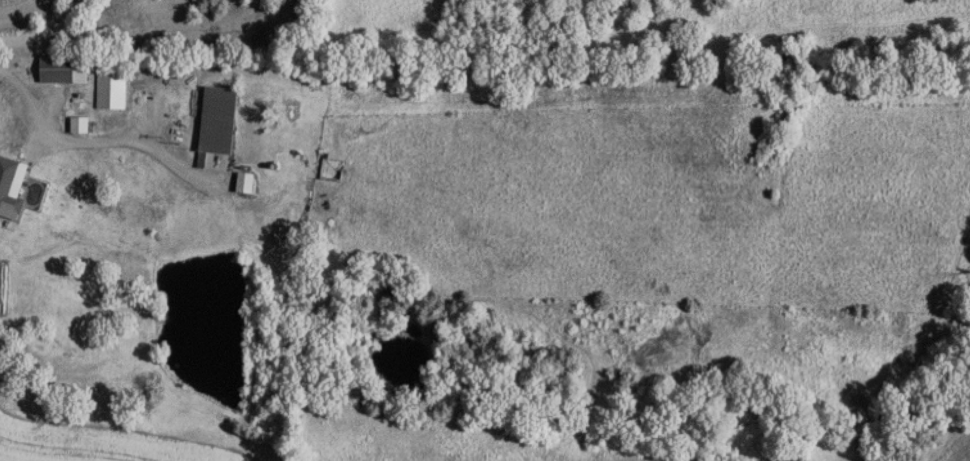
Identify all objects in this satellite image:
road: (44, 29)
building: (68, 66)
building: (115, 84)
building: (223, 121)
building: (84, 122)
road: (89, 141)
building: (250, 179)
building: (12, 185)

